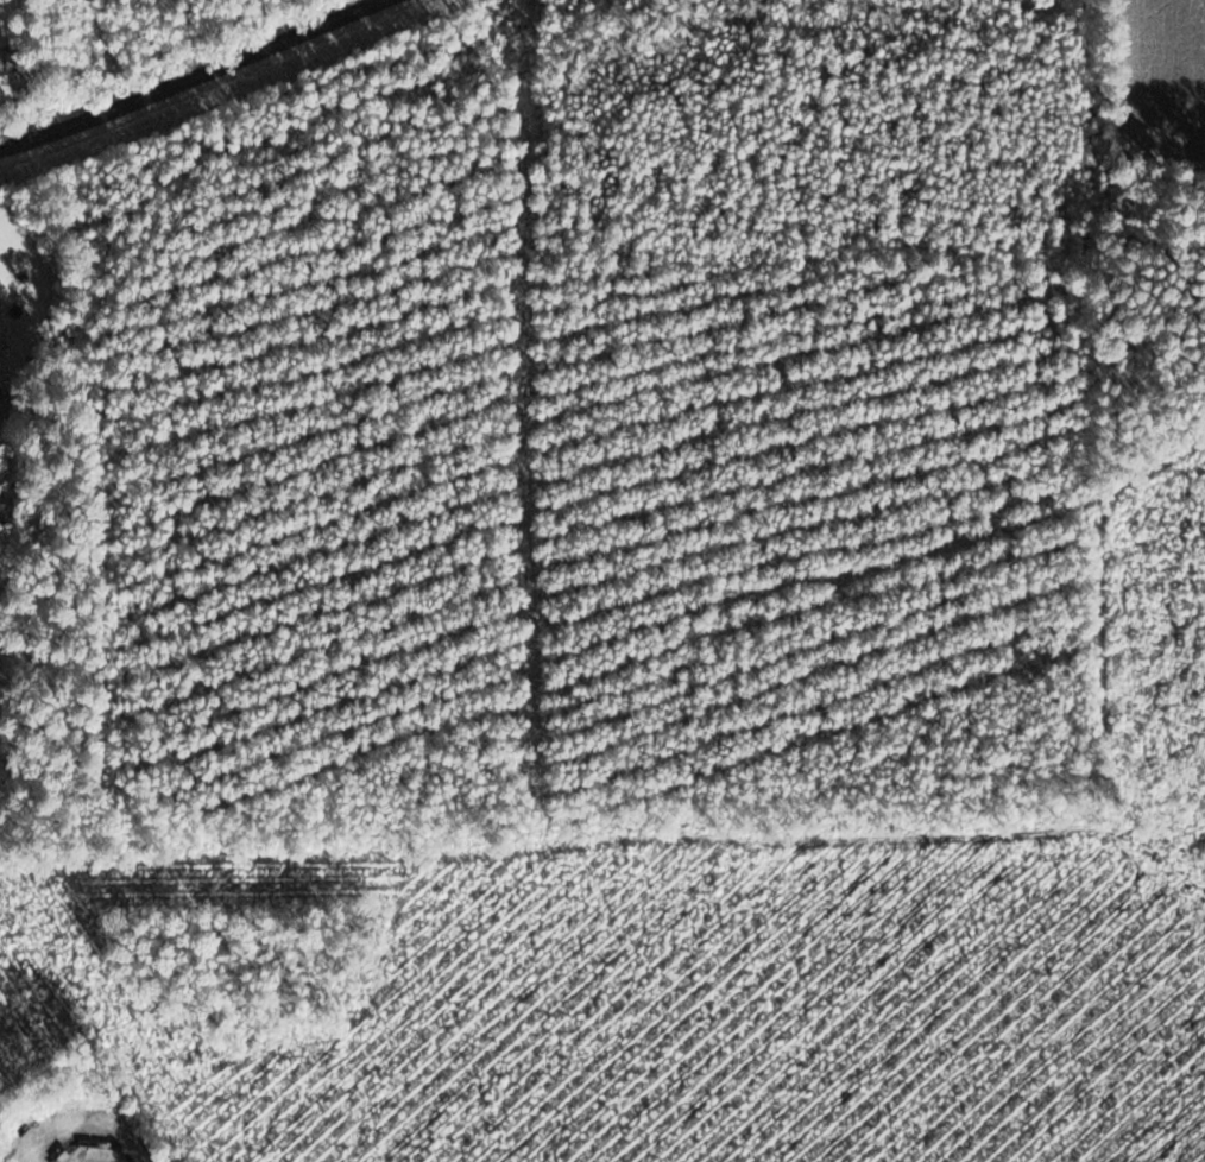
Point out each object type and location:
building: (8, 61)
road: (185, 75)

